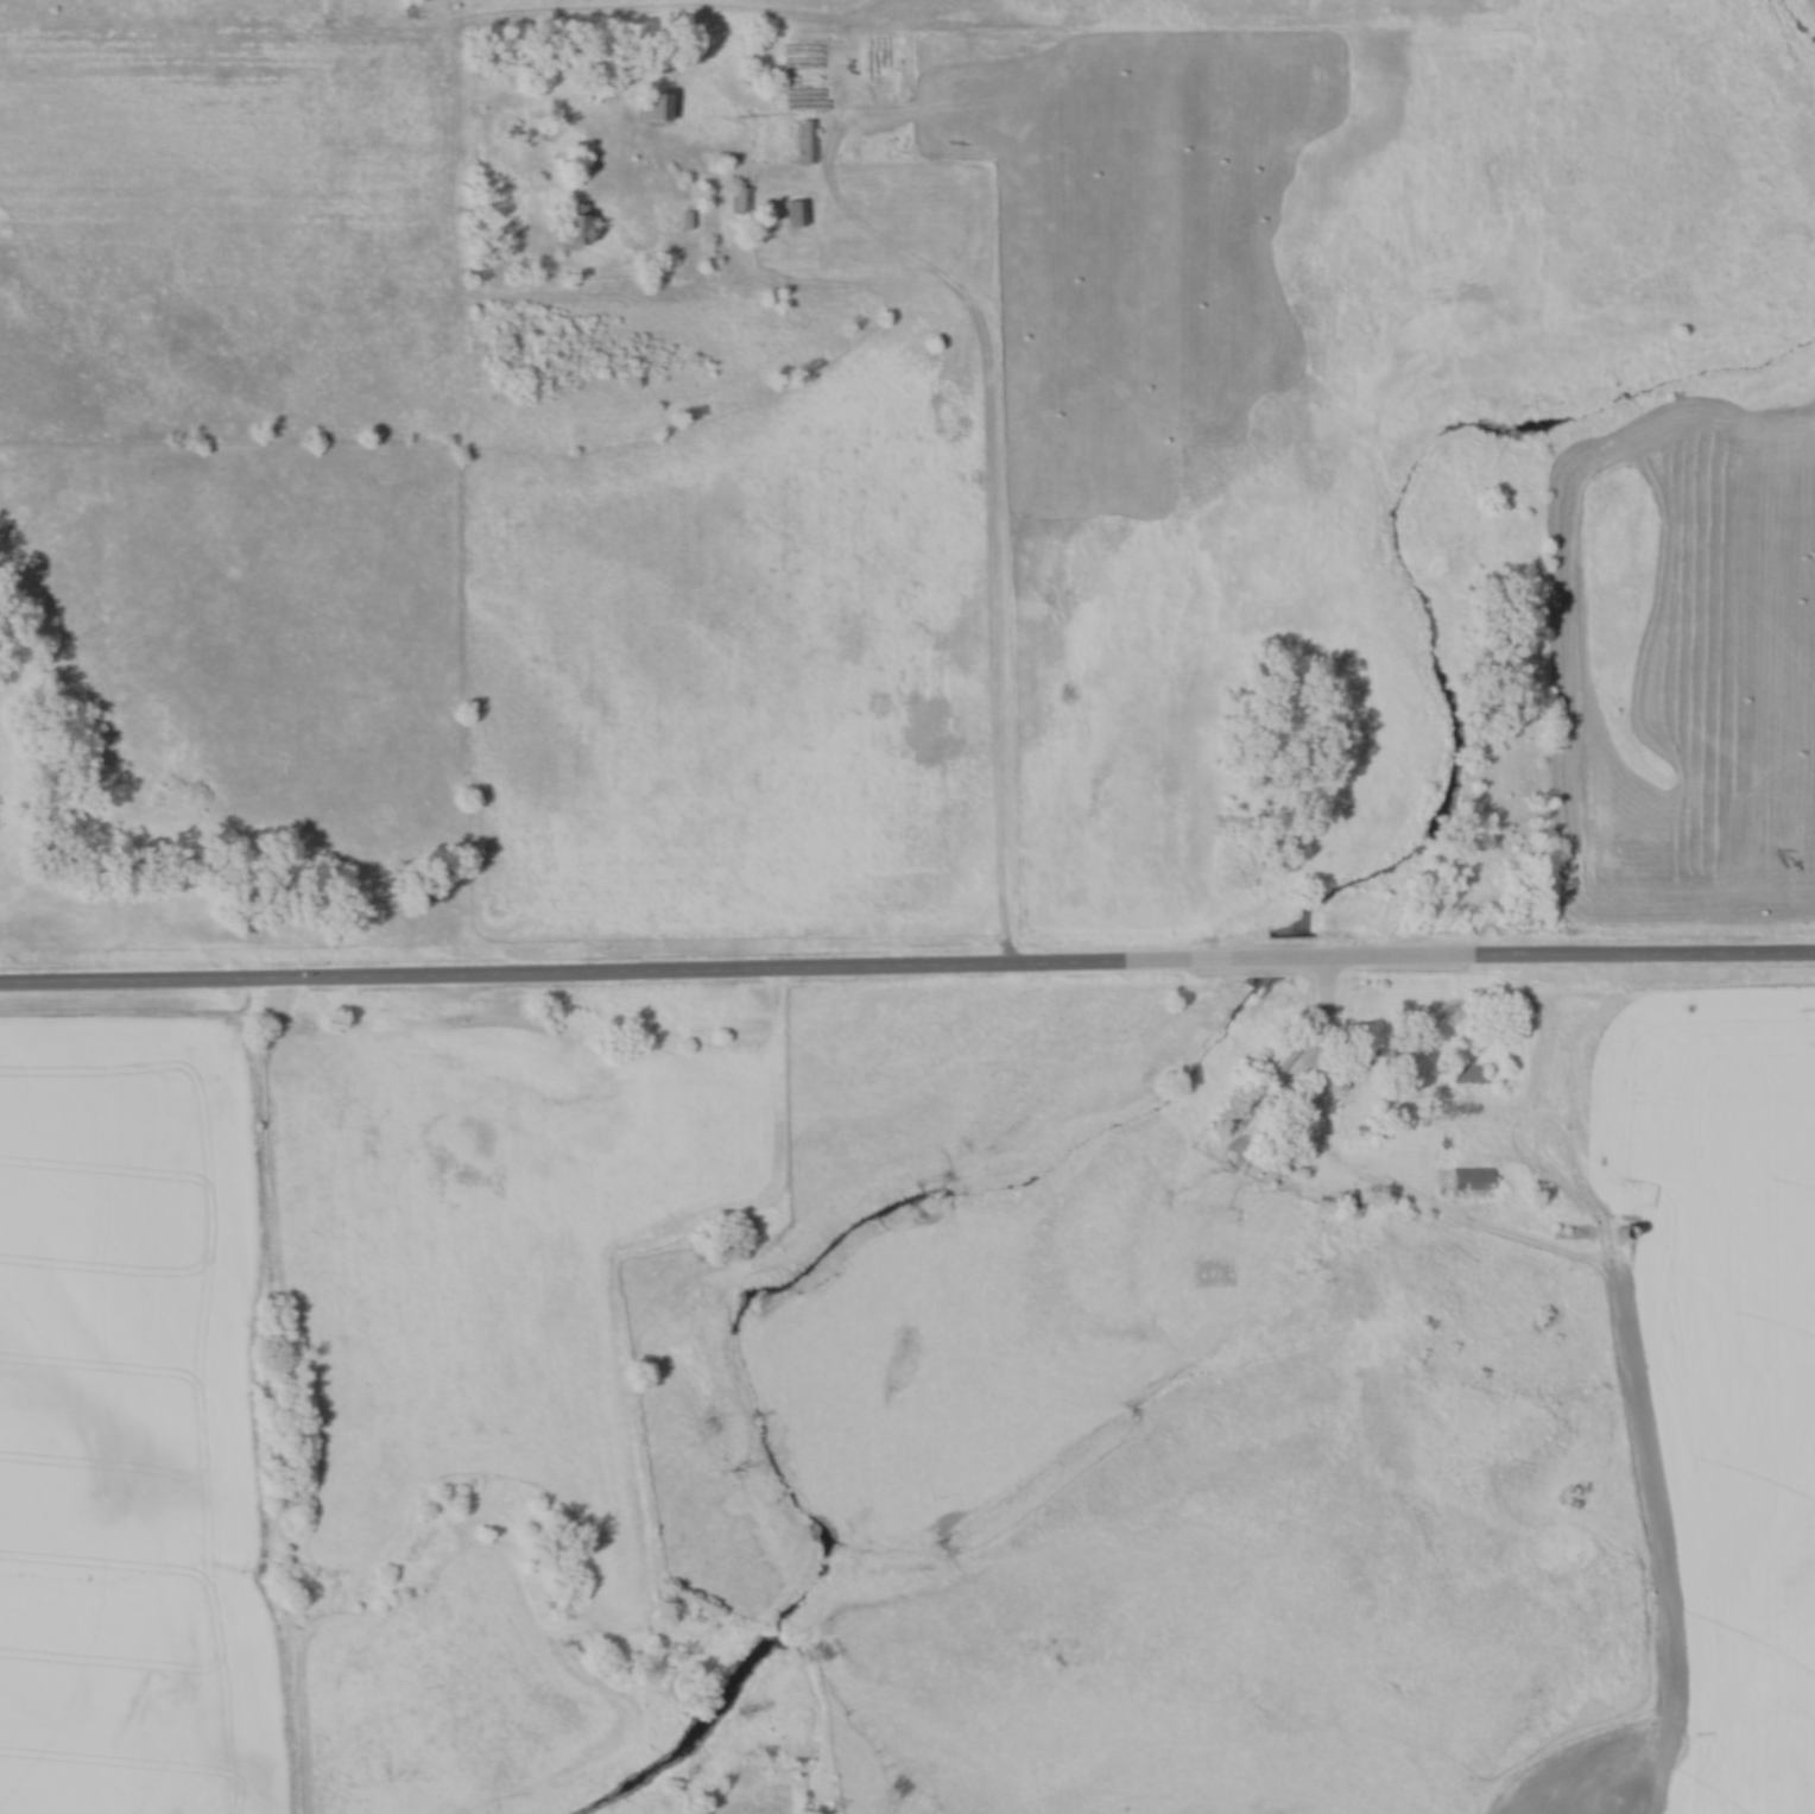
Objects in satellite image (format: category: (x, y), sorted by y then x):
river: (1800, 19)
building: (650, 107)
building: (802, 141)
building: (736, 201)
building: (790, 213)
building: (565, 225)
road: (994, 432)
road: (1552, 960)
road: (1273, 963)
road: (628, 978)
road: (1326, 1031)
building: (1355, 1049)
building: (1276, 1060)
river: (1196, 1067)
building: (1465, 1074)
building: (1468, 1181)

